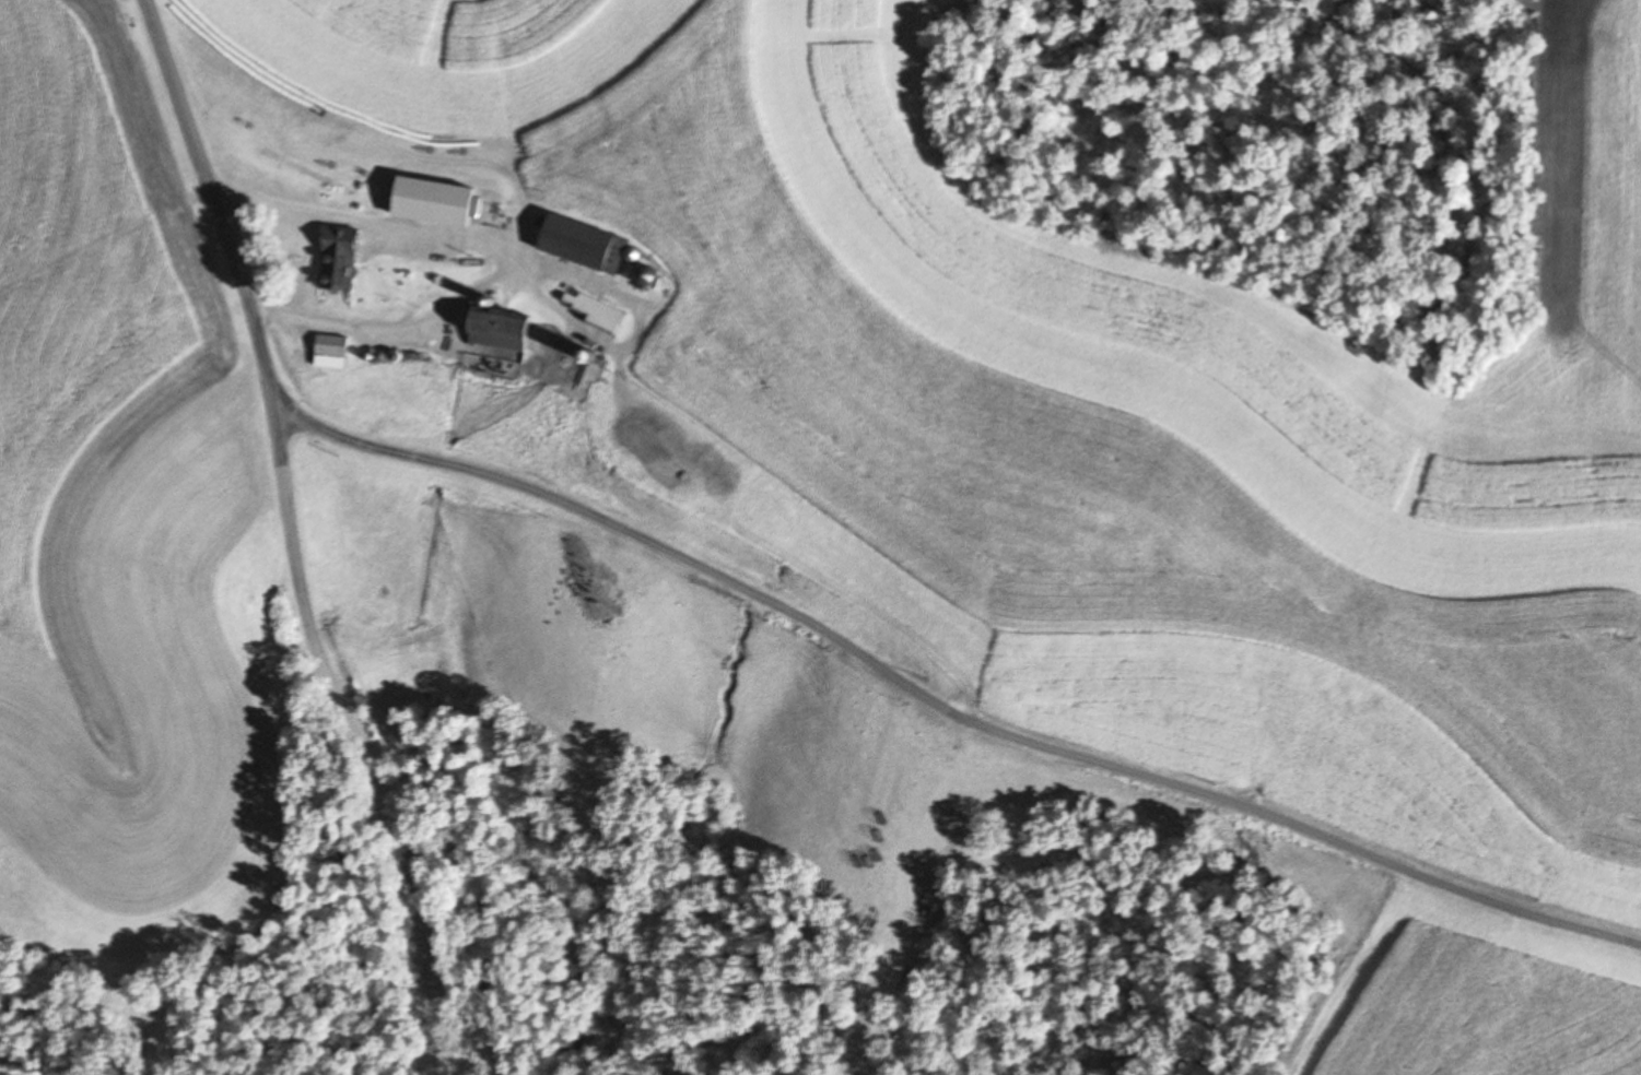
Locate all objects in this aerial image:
building: (587, 246)
building: (344, 261)
building: (601, 312)
building: (505, 329)
road: (928, 349)
building: (336, 353)
road: (282, 539)

